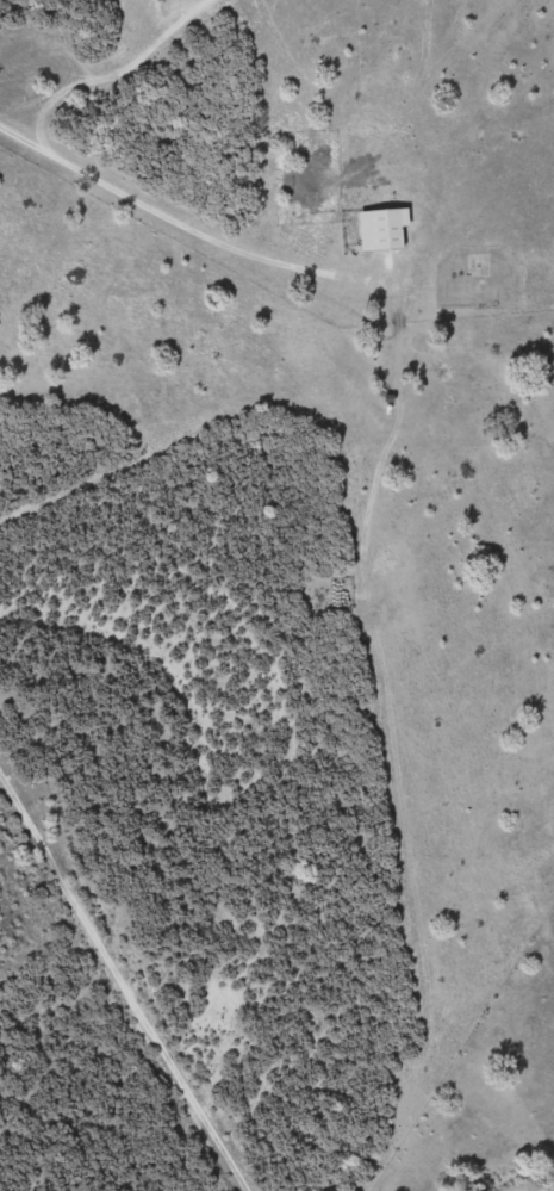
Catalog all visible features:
building: (386, 225)

